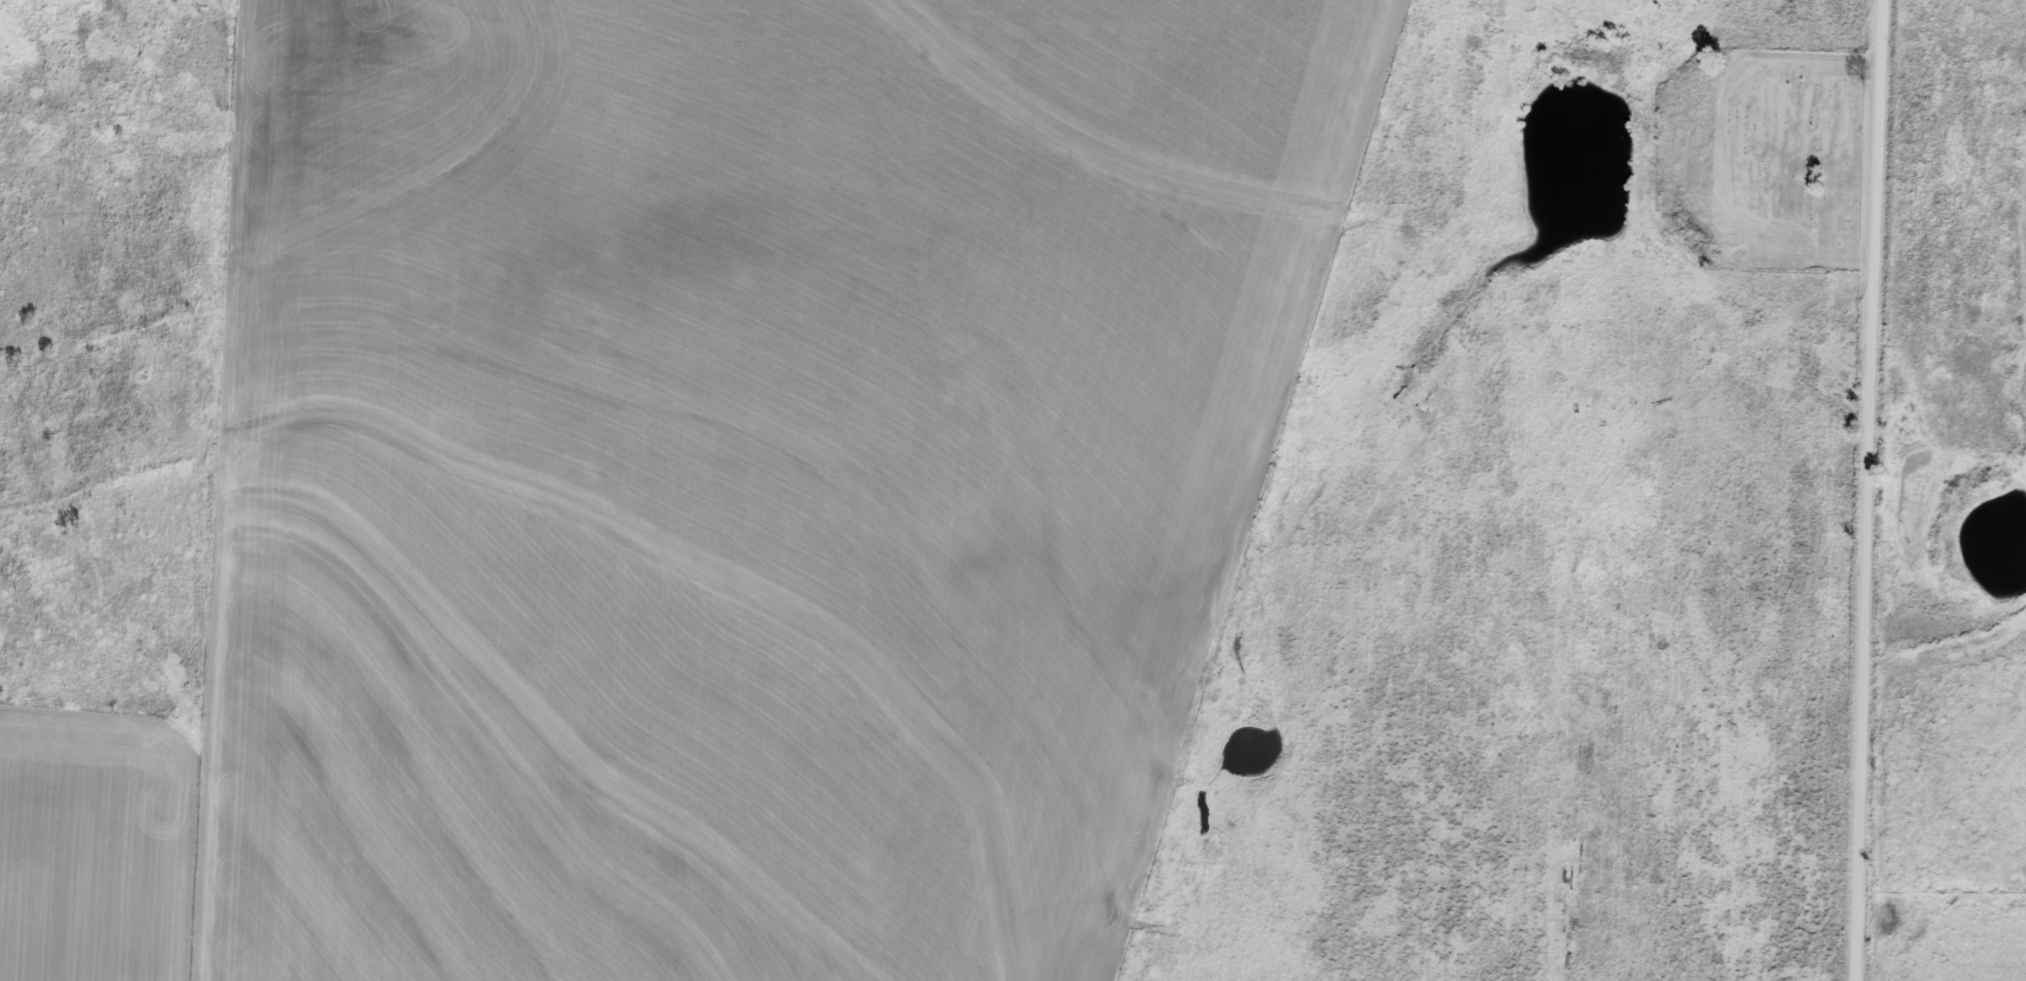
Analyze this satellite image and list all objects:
road: (1880, 135)
park: (1768, 154)
road: (1868, 626)

